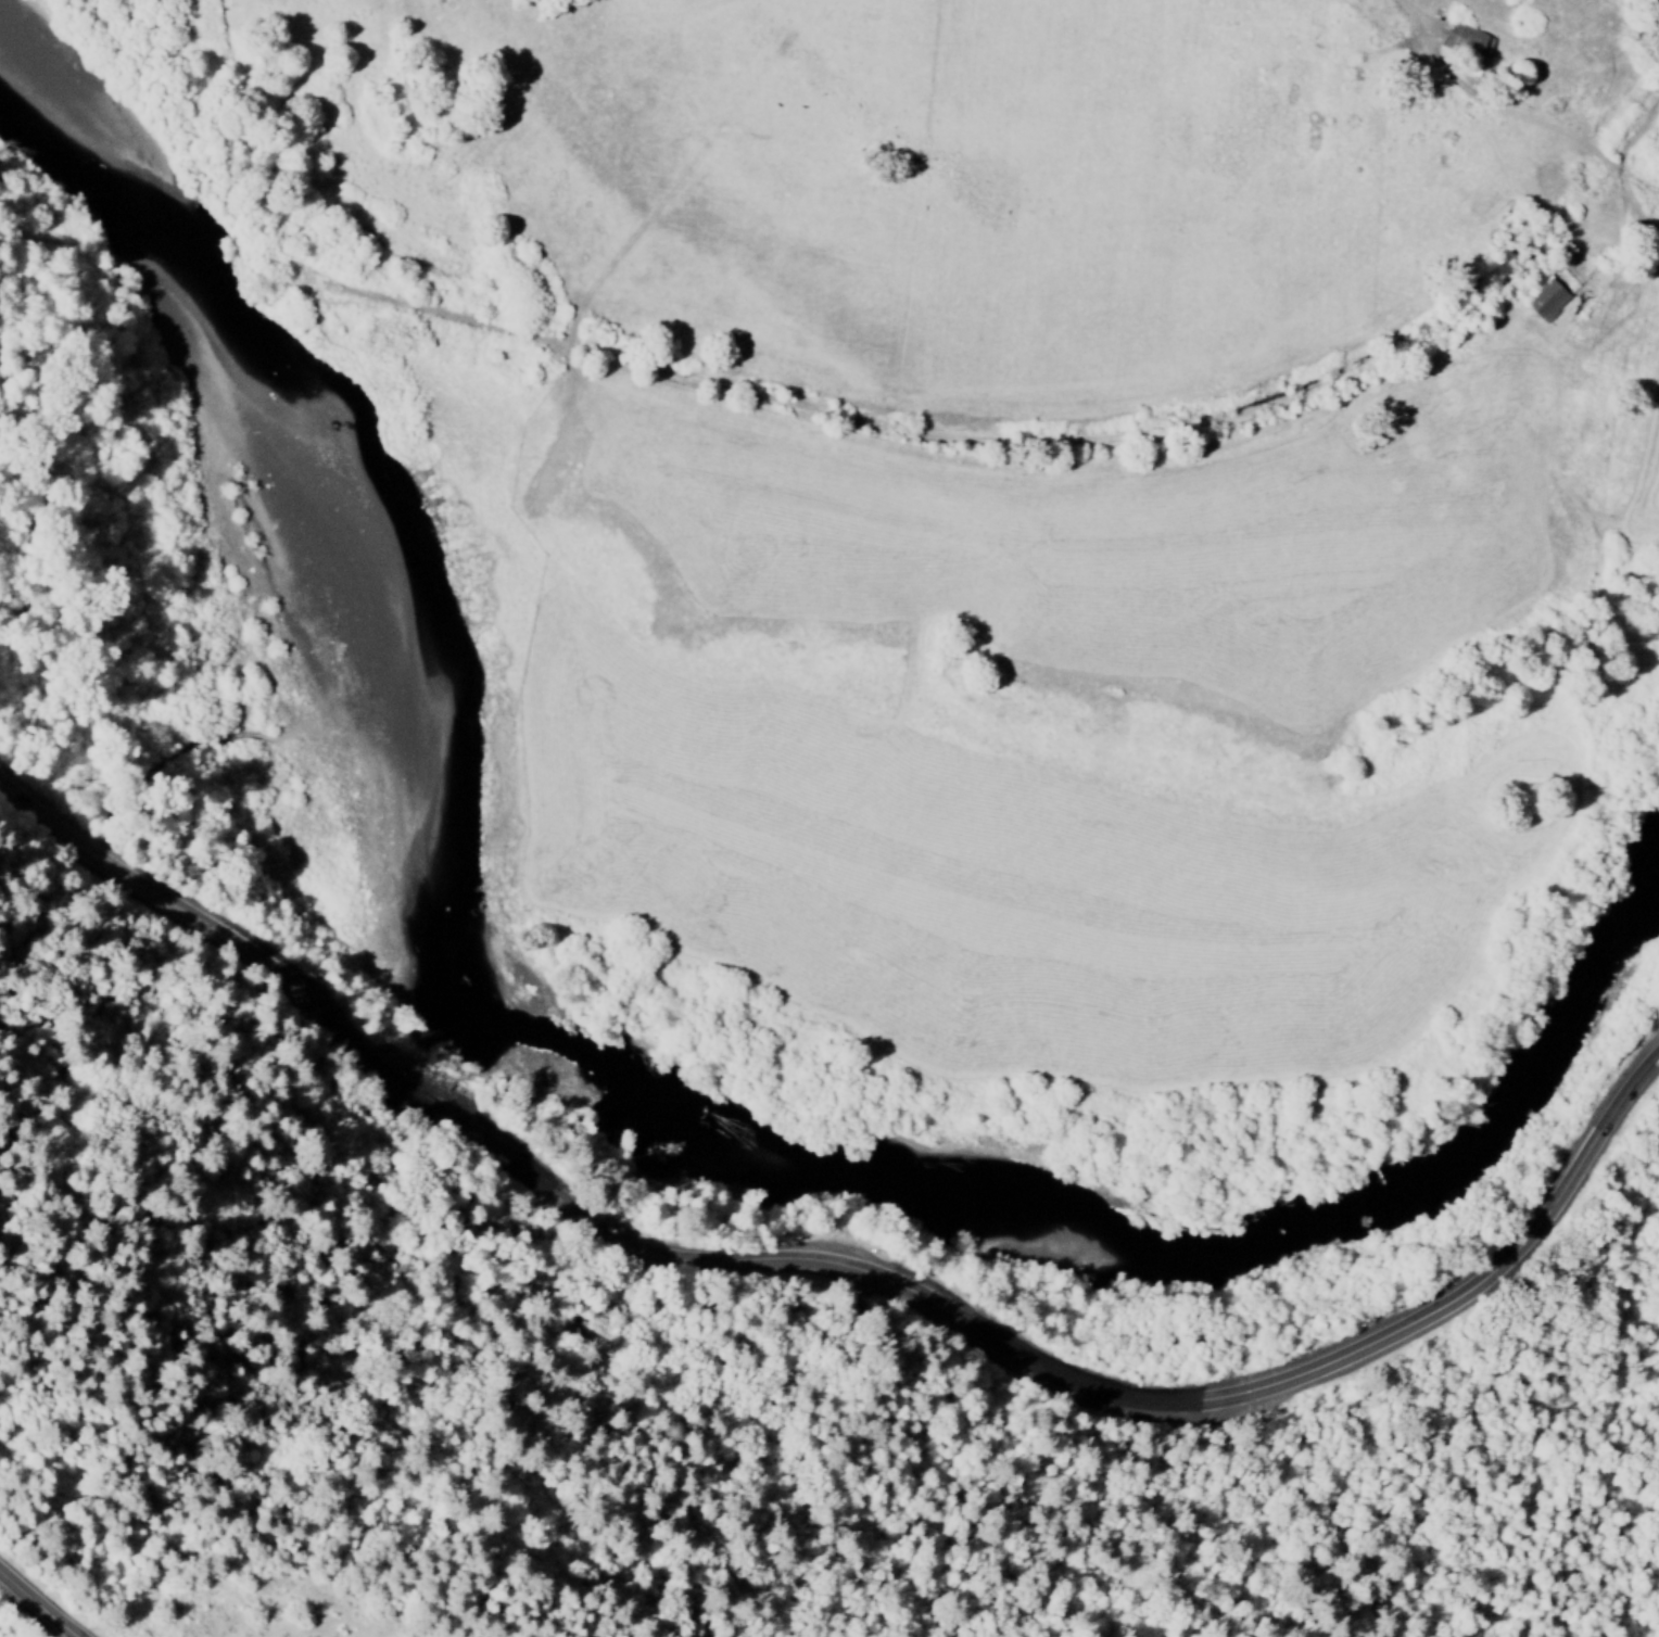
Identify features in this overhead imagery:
building: (1466, 41)
road: (96, 234)
building: (1545, 302)
river: (584, 1054)
road: (835, 1272)
road: (41, 1604)

